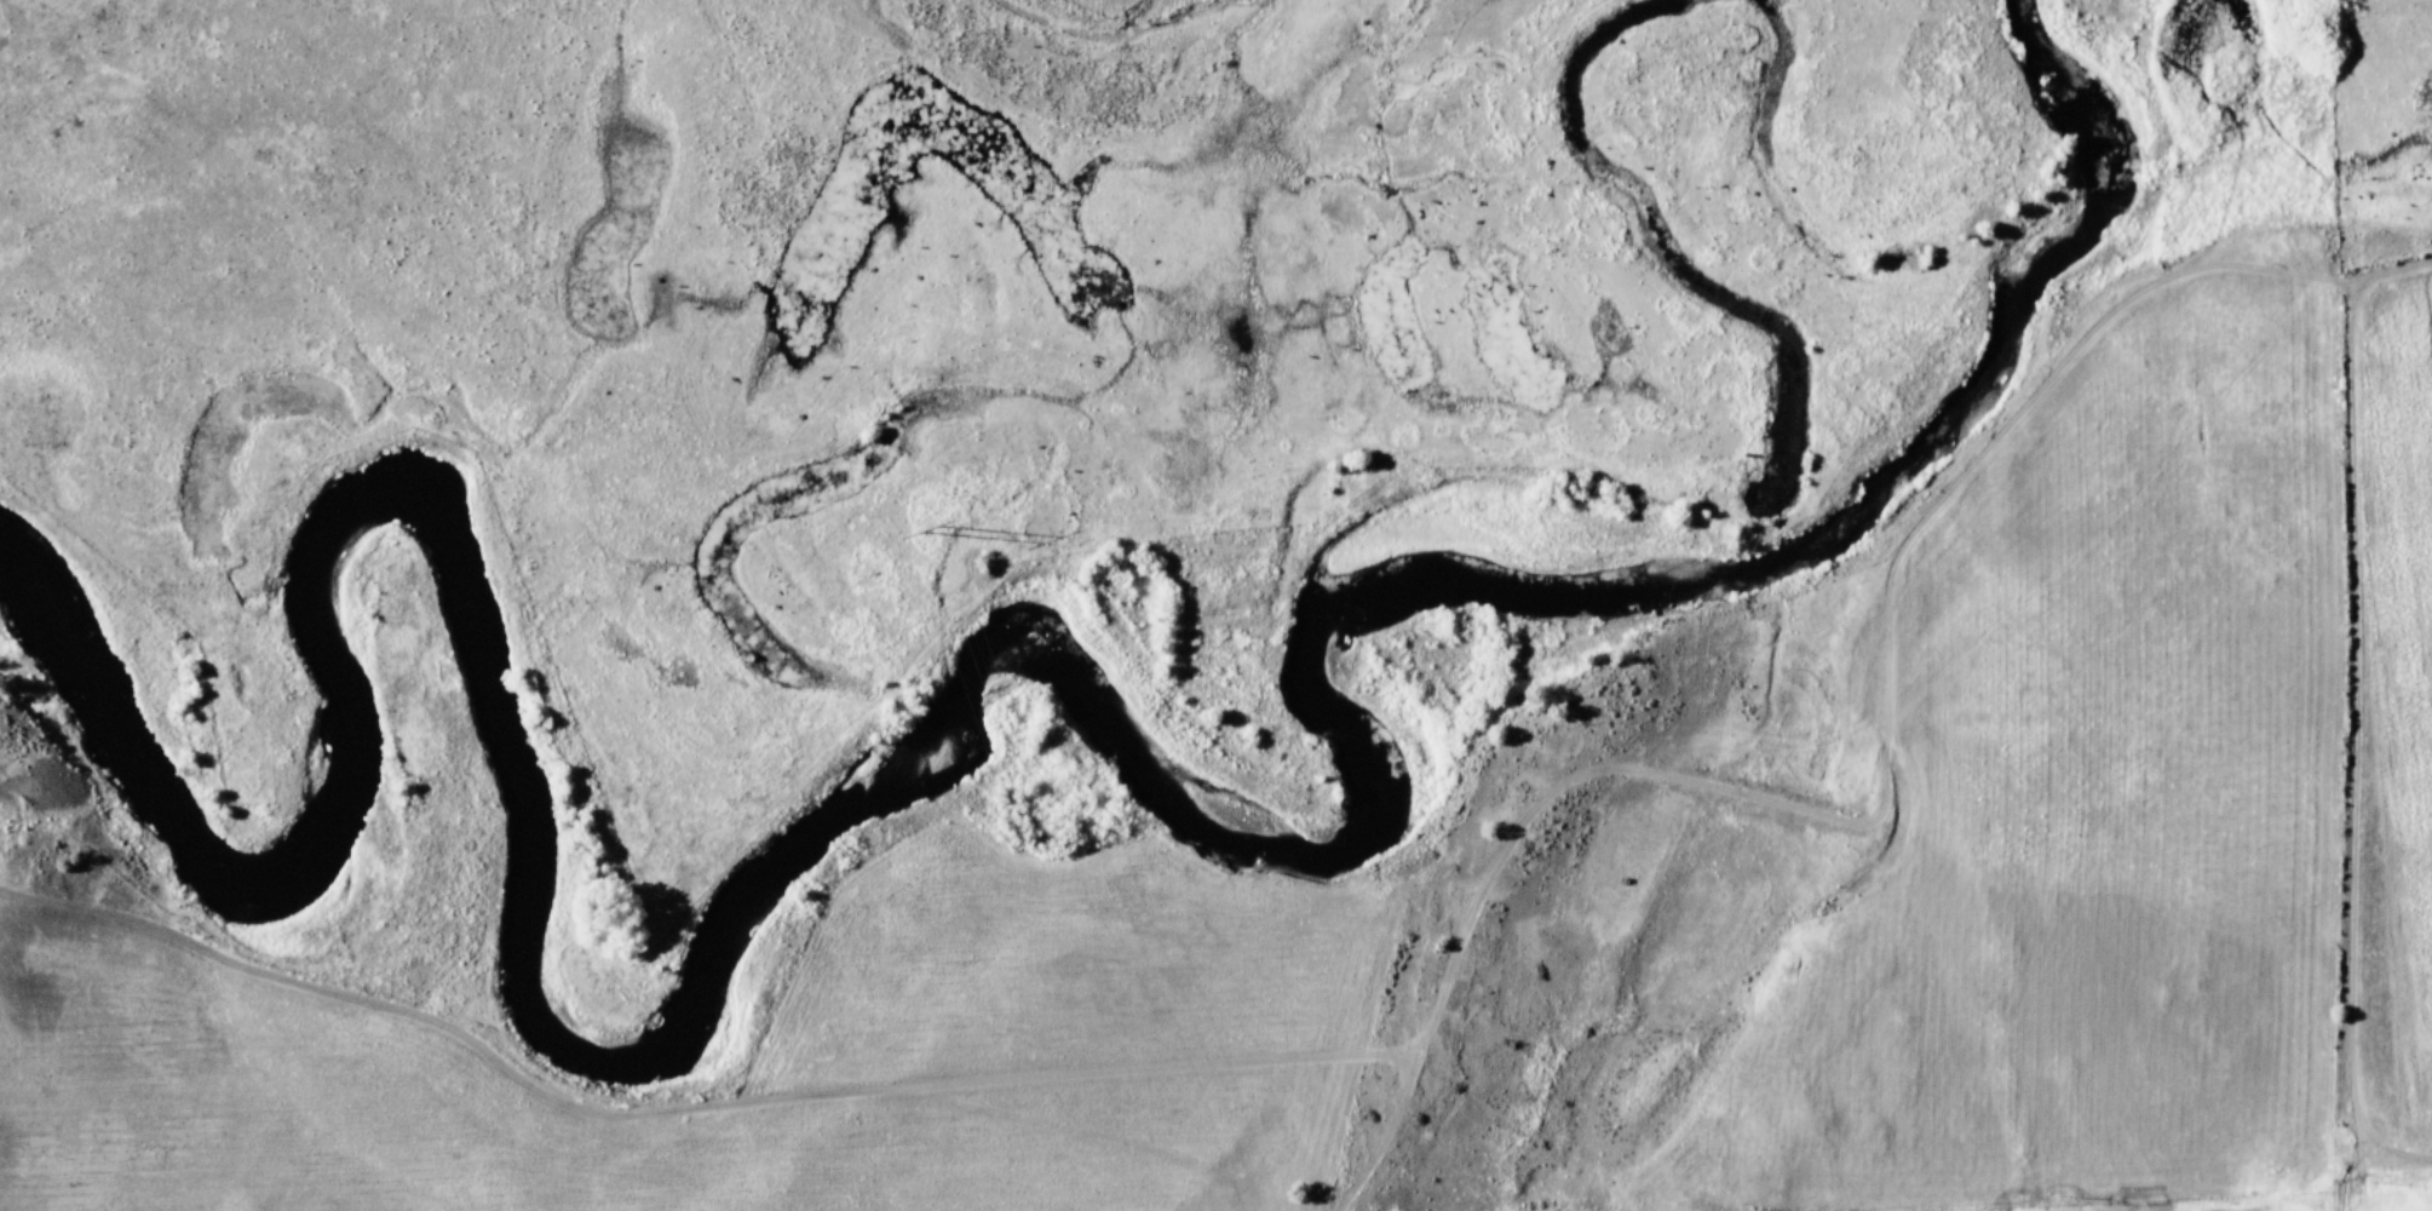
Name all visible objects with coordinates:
power tower: (933, 529)
river: (887, 781)

